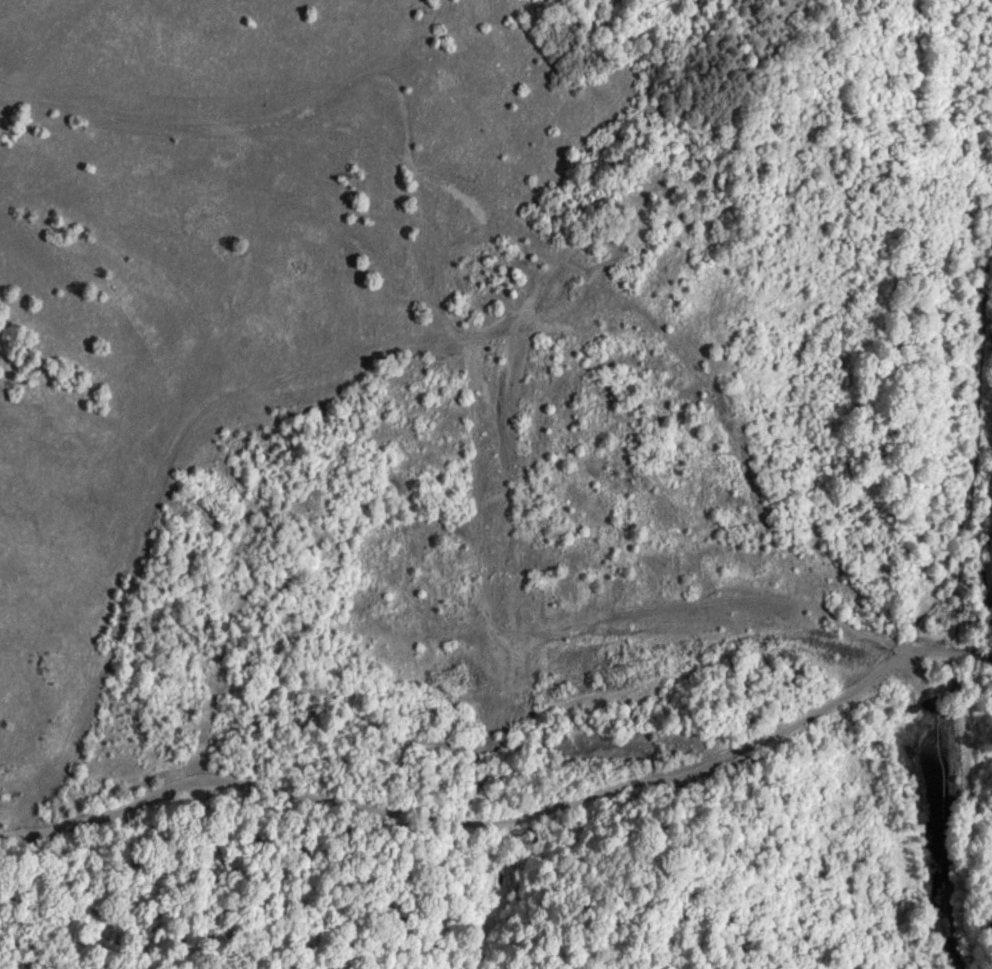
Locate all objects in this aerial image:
road: (654, 319)
road: (479, 716)

